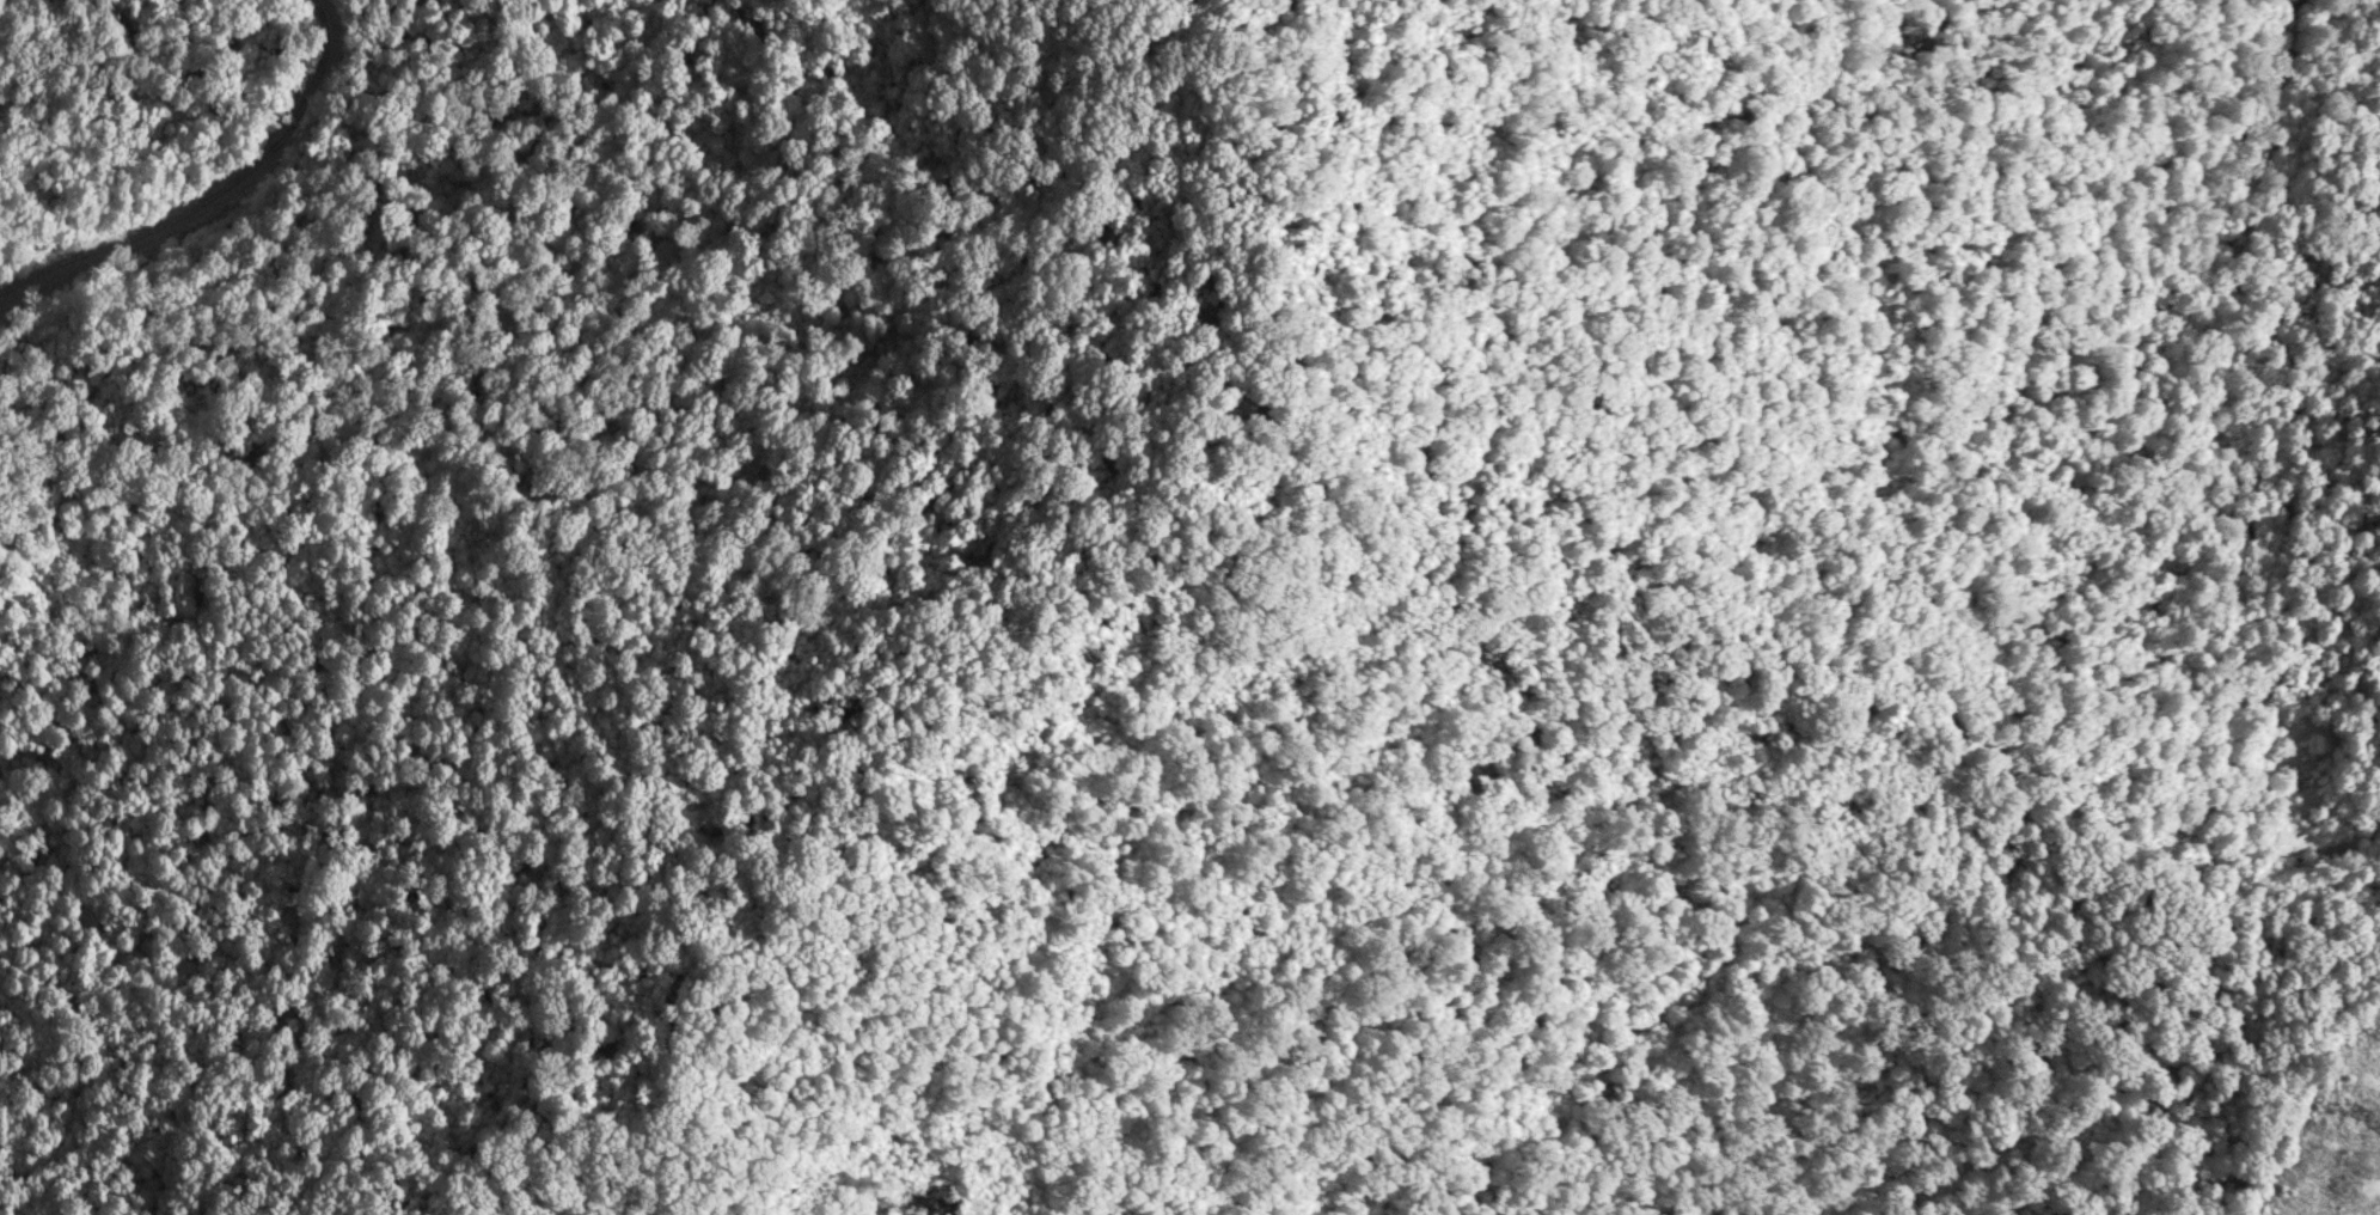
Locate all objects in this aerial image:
power tower: (2360, 1111)

